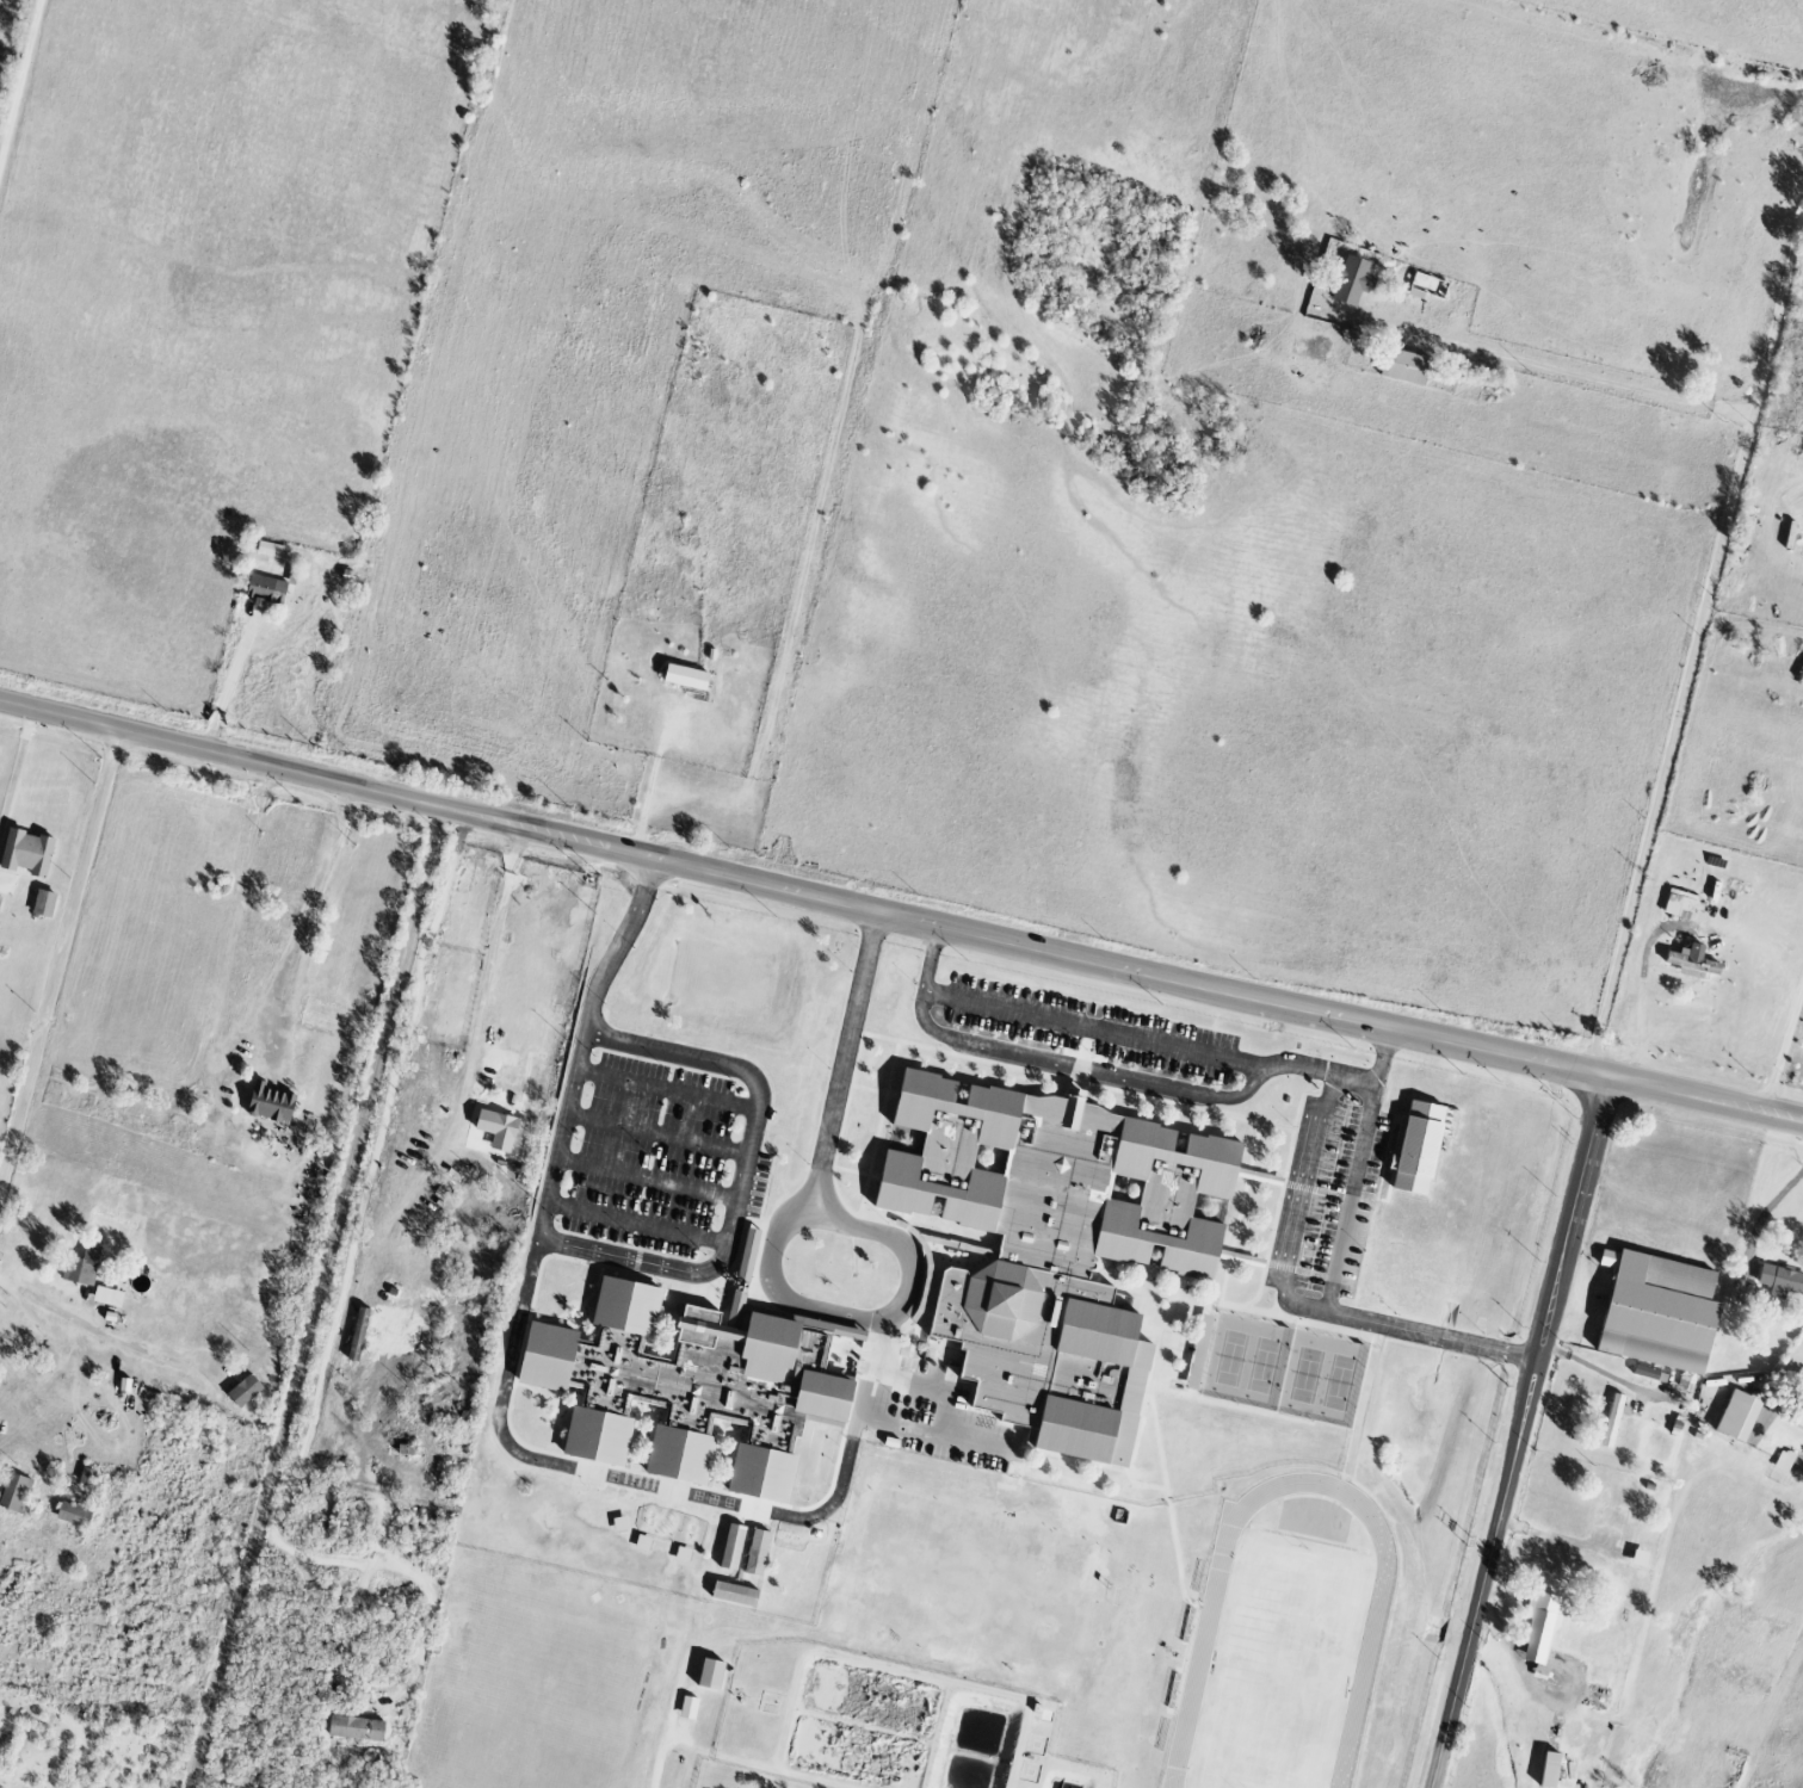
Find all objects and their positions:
road: (20, 83)
building: (1350, 281)
building: (1403, 367)
road: (1563, 372)
building: (271, 550)
building: (264, 589)
road: (1697, 641)
building: (685, 678)
road: (228, 683)
road: (259, 762)
road: (16, 771)
building: (25, 853)
road: (650, 873)
building: (43, 904)
road: (315, 911)
road: (875, 926)
road: (611, 958)
building: (1690, 964)
road: (58, 965)
road: (1160, 977)
road: (1117, 1034)
road: (1783, 1048)
road: (1083, 1065)
road: (667, 1090)
building: (270, 1103)
building: (1449, 1121)
building: (496, 1130)
road: (656, 1134)
building: (1416, 1147)
road: (647, 1180)
road: (1301, 1202)
road: (1768, 1206)
road: (637, 1224)
building: (1052, 1248)
building: (747, 1254)
building: (81, 1267)
road: (706, 1270)
road: (1332, 1276)
building: (1780, 1280)
road: (785, 1293)
road: (314, 1297)
building: (106, 1298)
building: (1656, 1312)
road: (80, 1332)
building: (357, 1335)
building: (1197, 1353)
road: (1592, 1363)
road: (336, 1373)
road: (1756, 1376)
building: (687, 1388)
building: (243, 1391)
building: (1736, 1416)
building: (1611, 1421)
building: (1799, 1423)
road: (933, 1427)
road: (1521, 1431)
road: (848, 1458)
building: (1785, 1458)
building: (14, 1493)
building: (73, 1516)
building: (731, 1548)
building: (755, 1553)
building: (733, 1595)
building: (1539, 1629)
building: (709, 1675)
building: (687, 1708)
building: (354, 1730)
road: (657, 1755)

